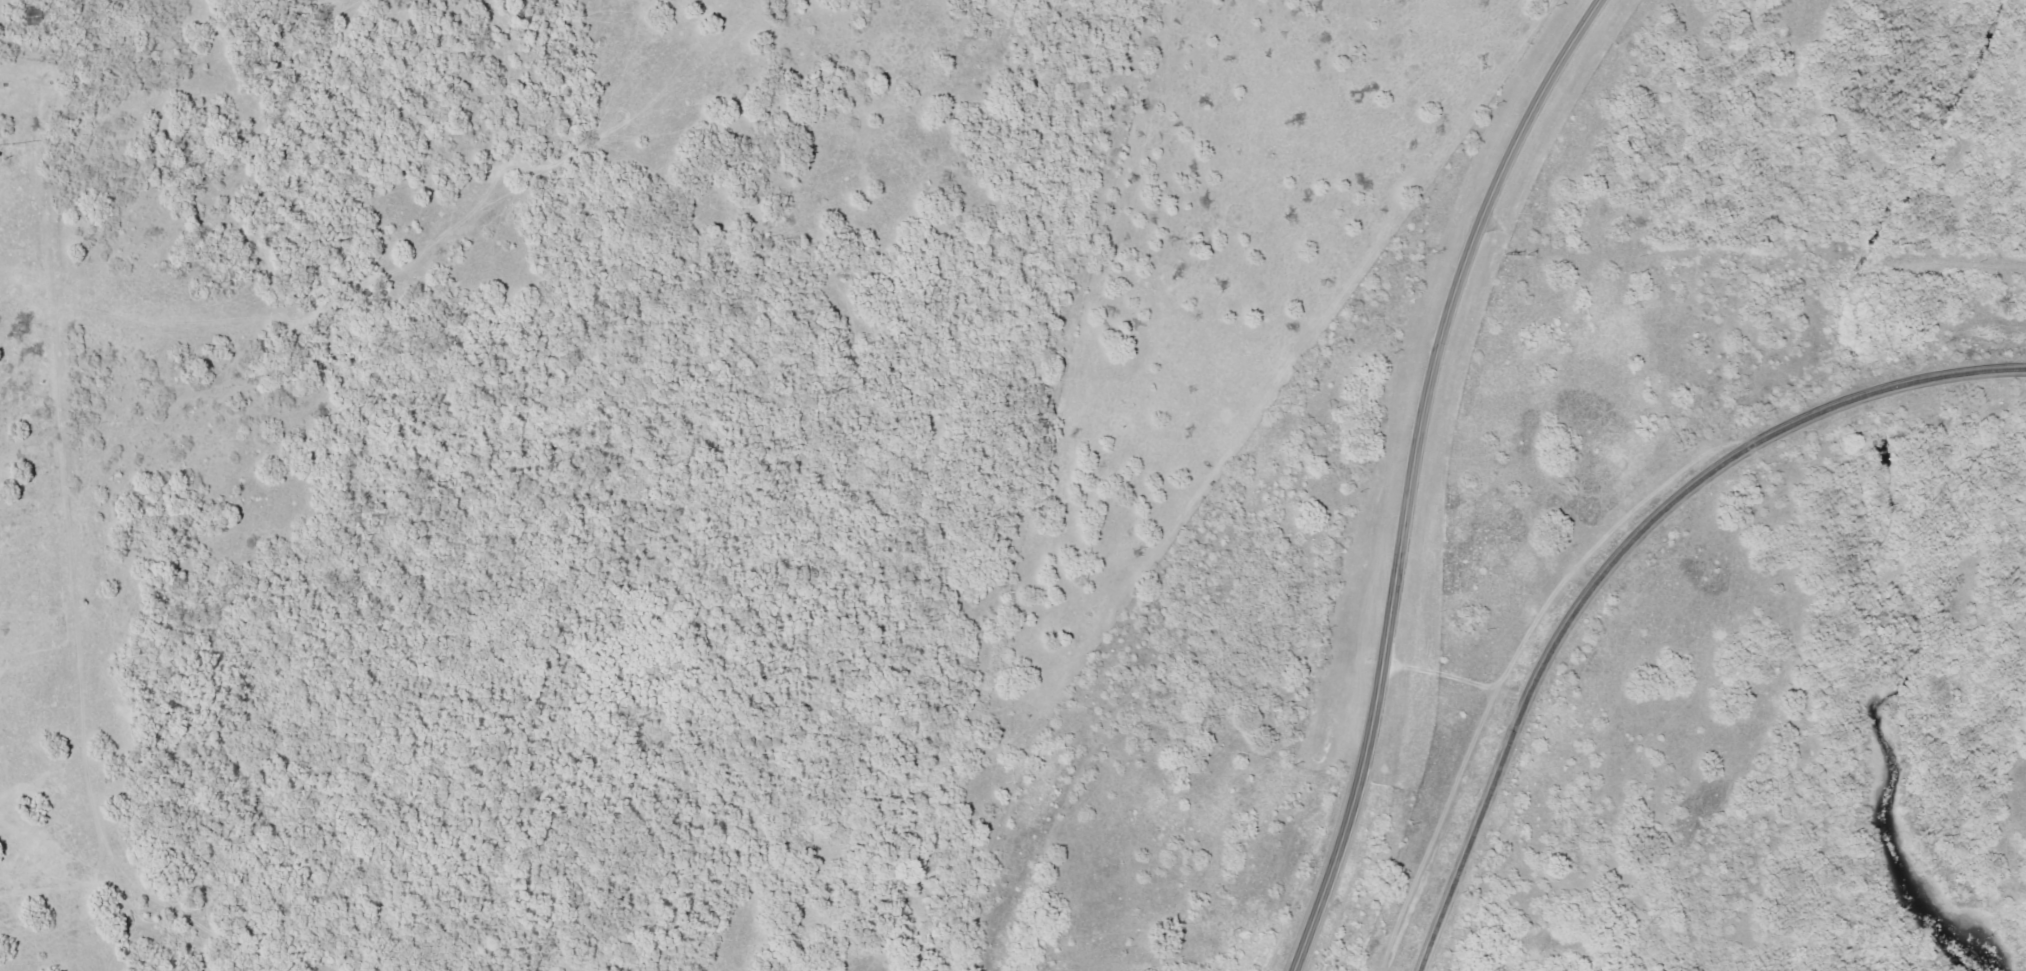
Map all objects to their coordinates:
building: (28, 17)
road: (1412, 472)
power plant: (1737, 509)
railway: (1616, 555)
road: (73, 562)

